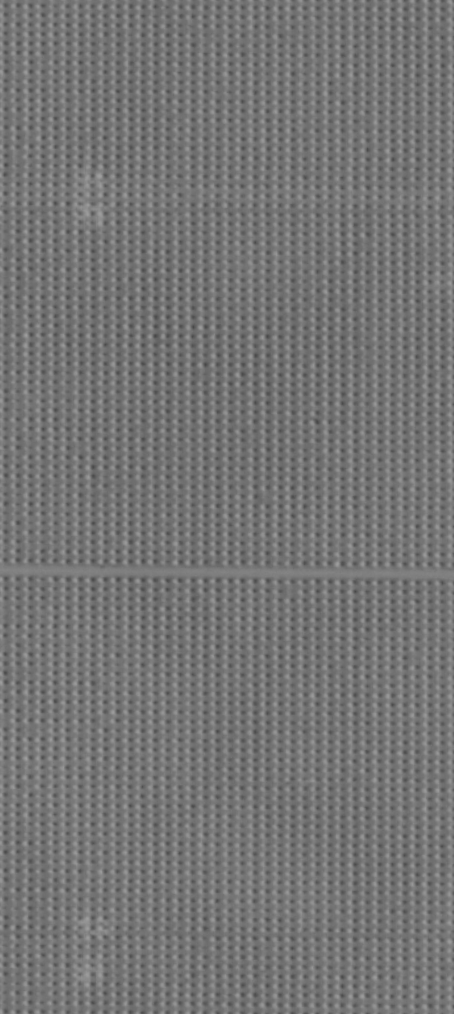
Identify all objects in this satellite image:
crop: (227, 507)

